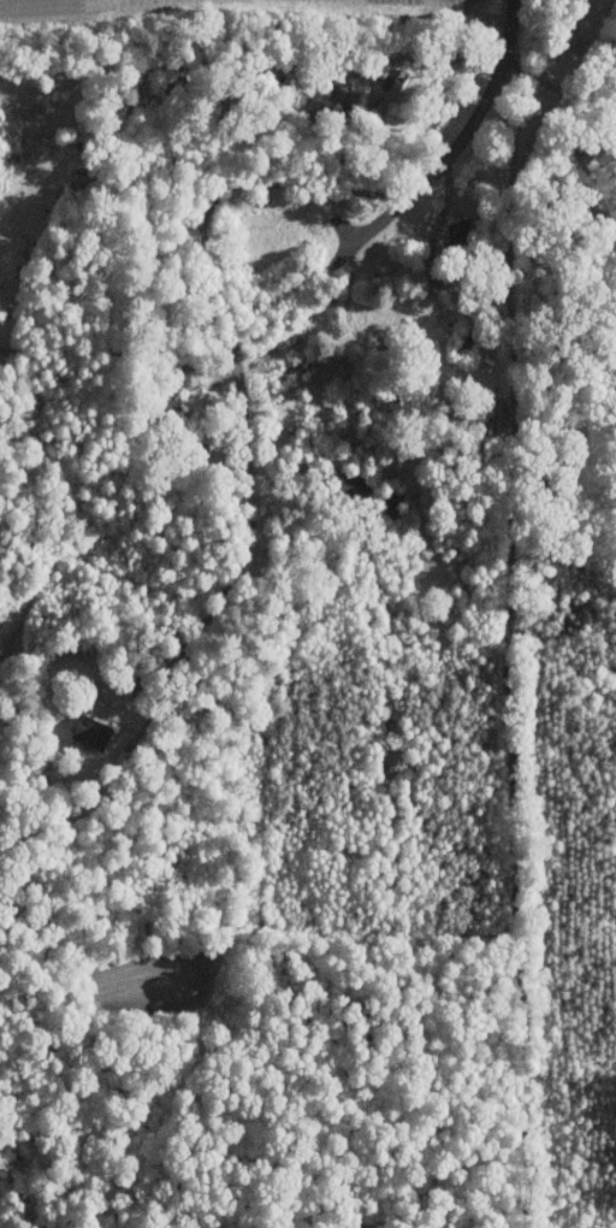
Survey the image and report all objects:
building: (361, 85)
road: (557, 88)
road: (482, 102)
road: (378, 224)
building: (457, 240)
road: (243, 411)
road: (502, 650)
building: (91, 731)

